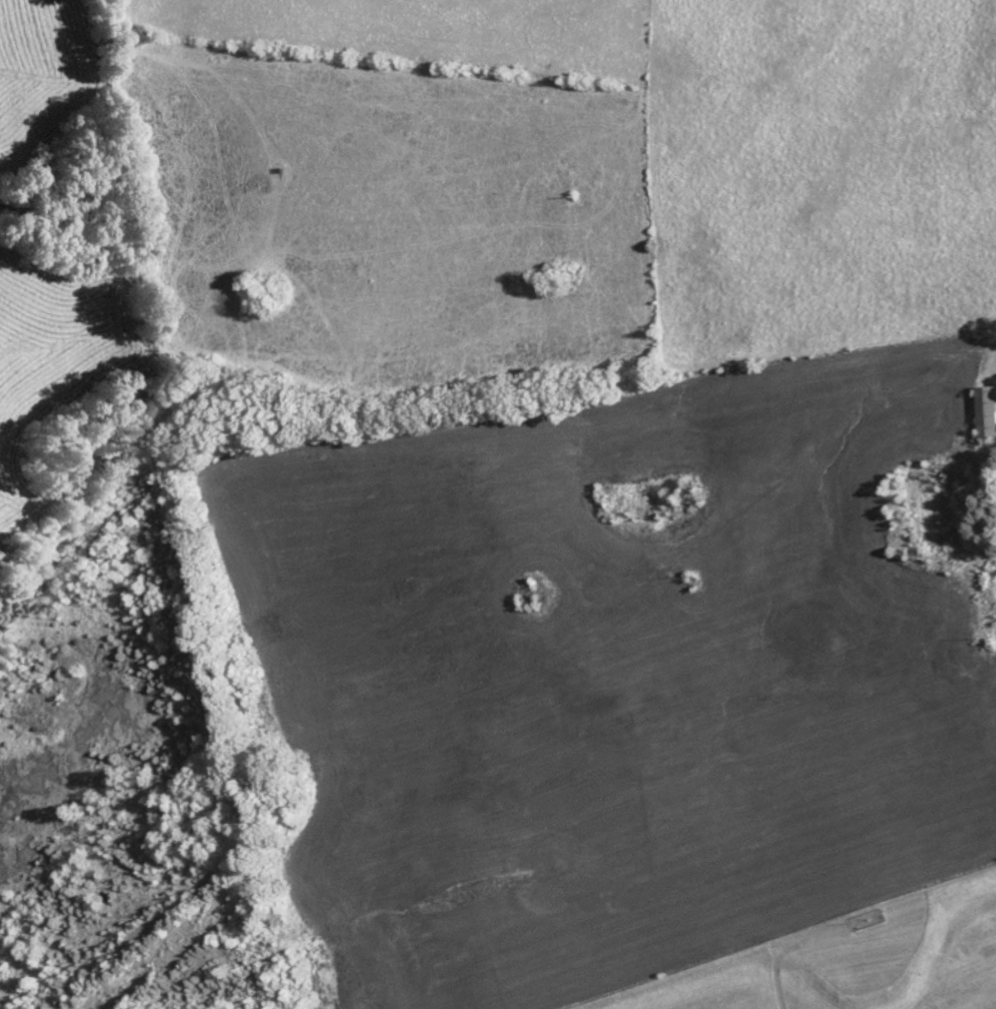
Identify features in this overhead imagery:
building: (990, 412)

